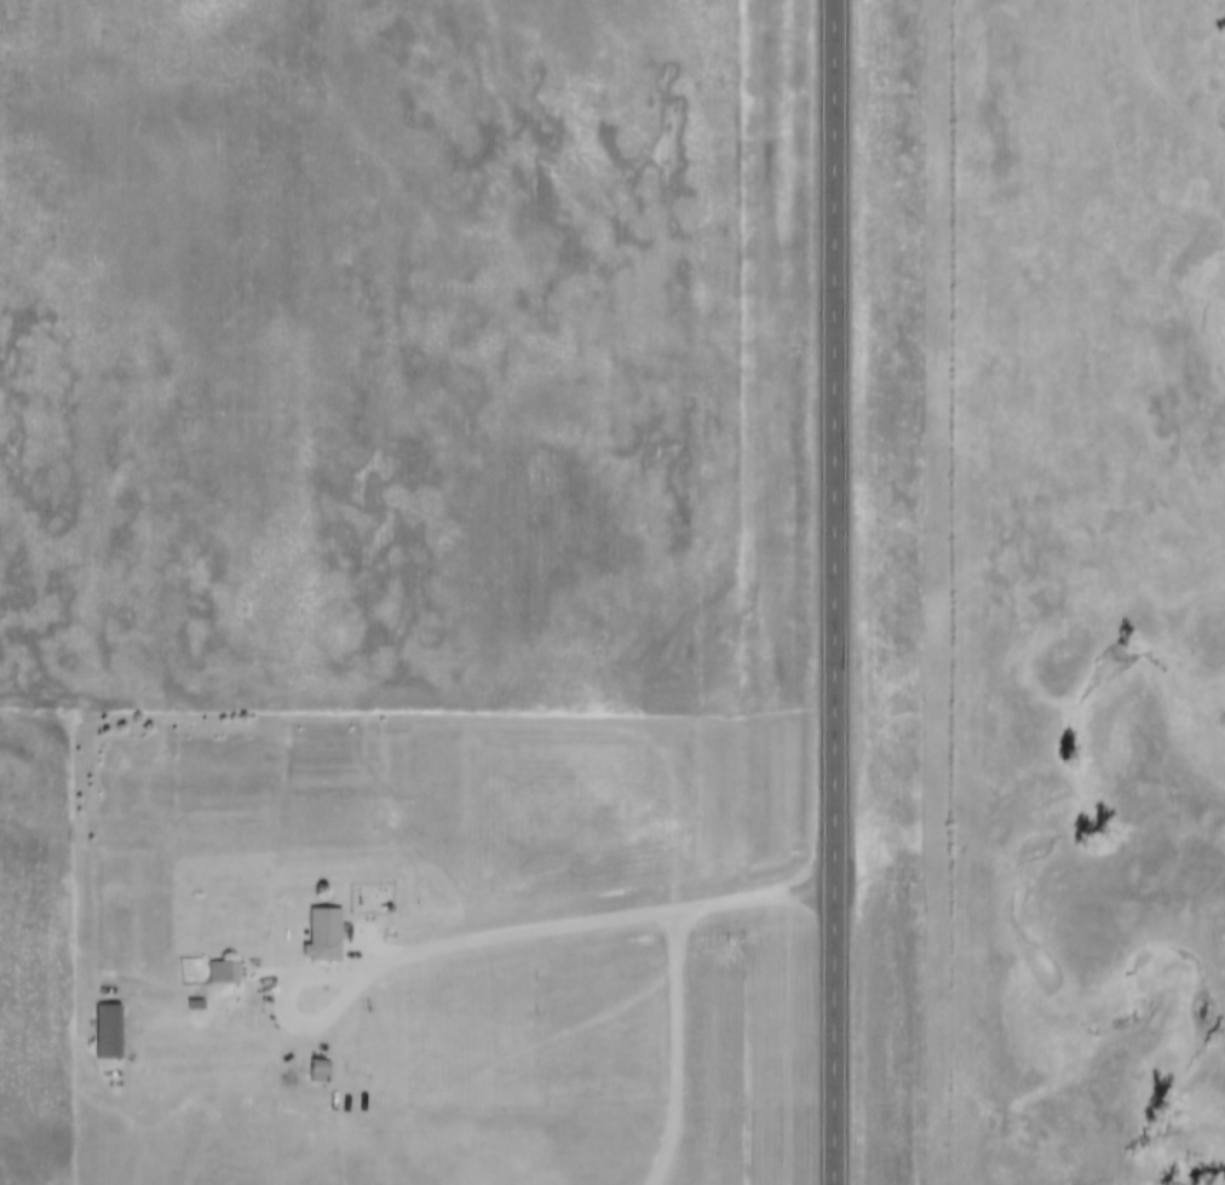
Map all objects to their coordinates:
road: (832, 592)
building: (317, 924)
road: (491, 940)
building: (217, 961)
building: (102, 1019)
building: (315, 1060)

